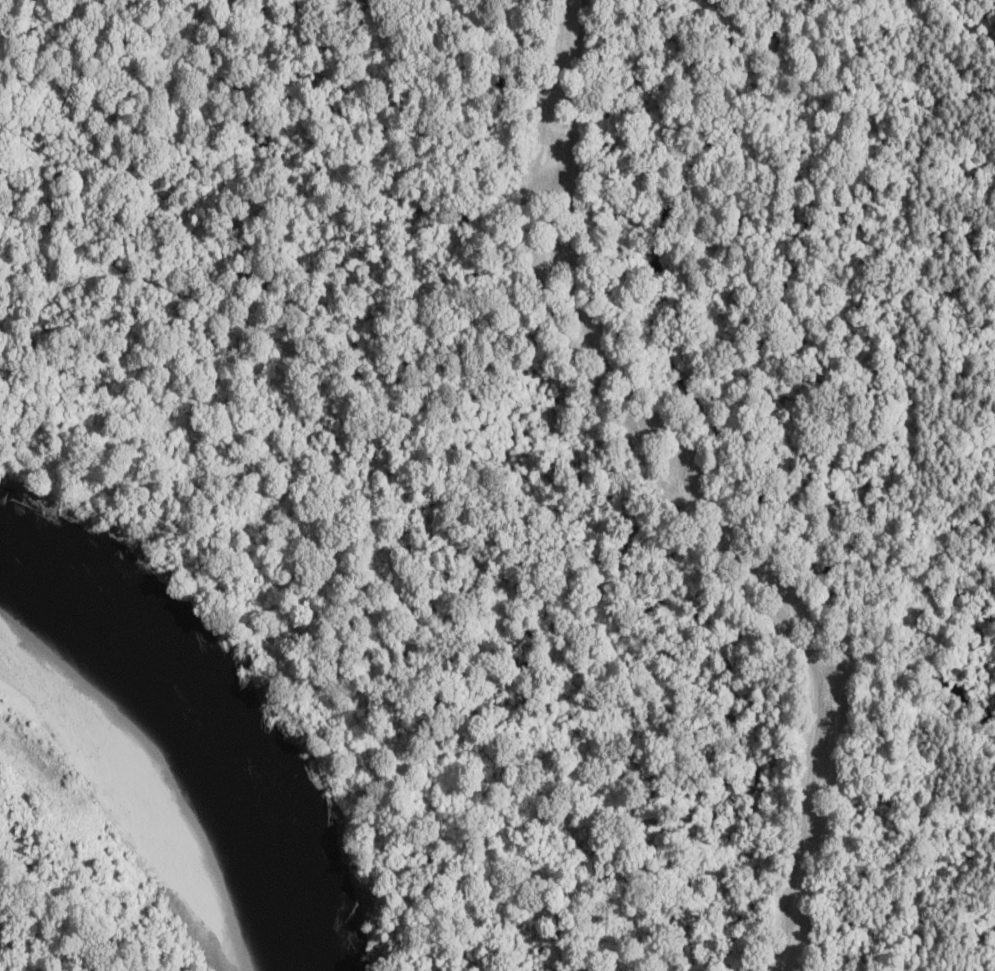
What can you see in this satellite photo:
river: (170, 770)

